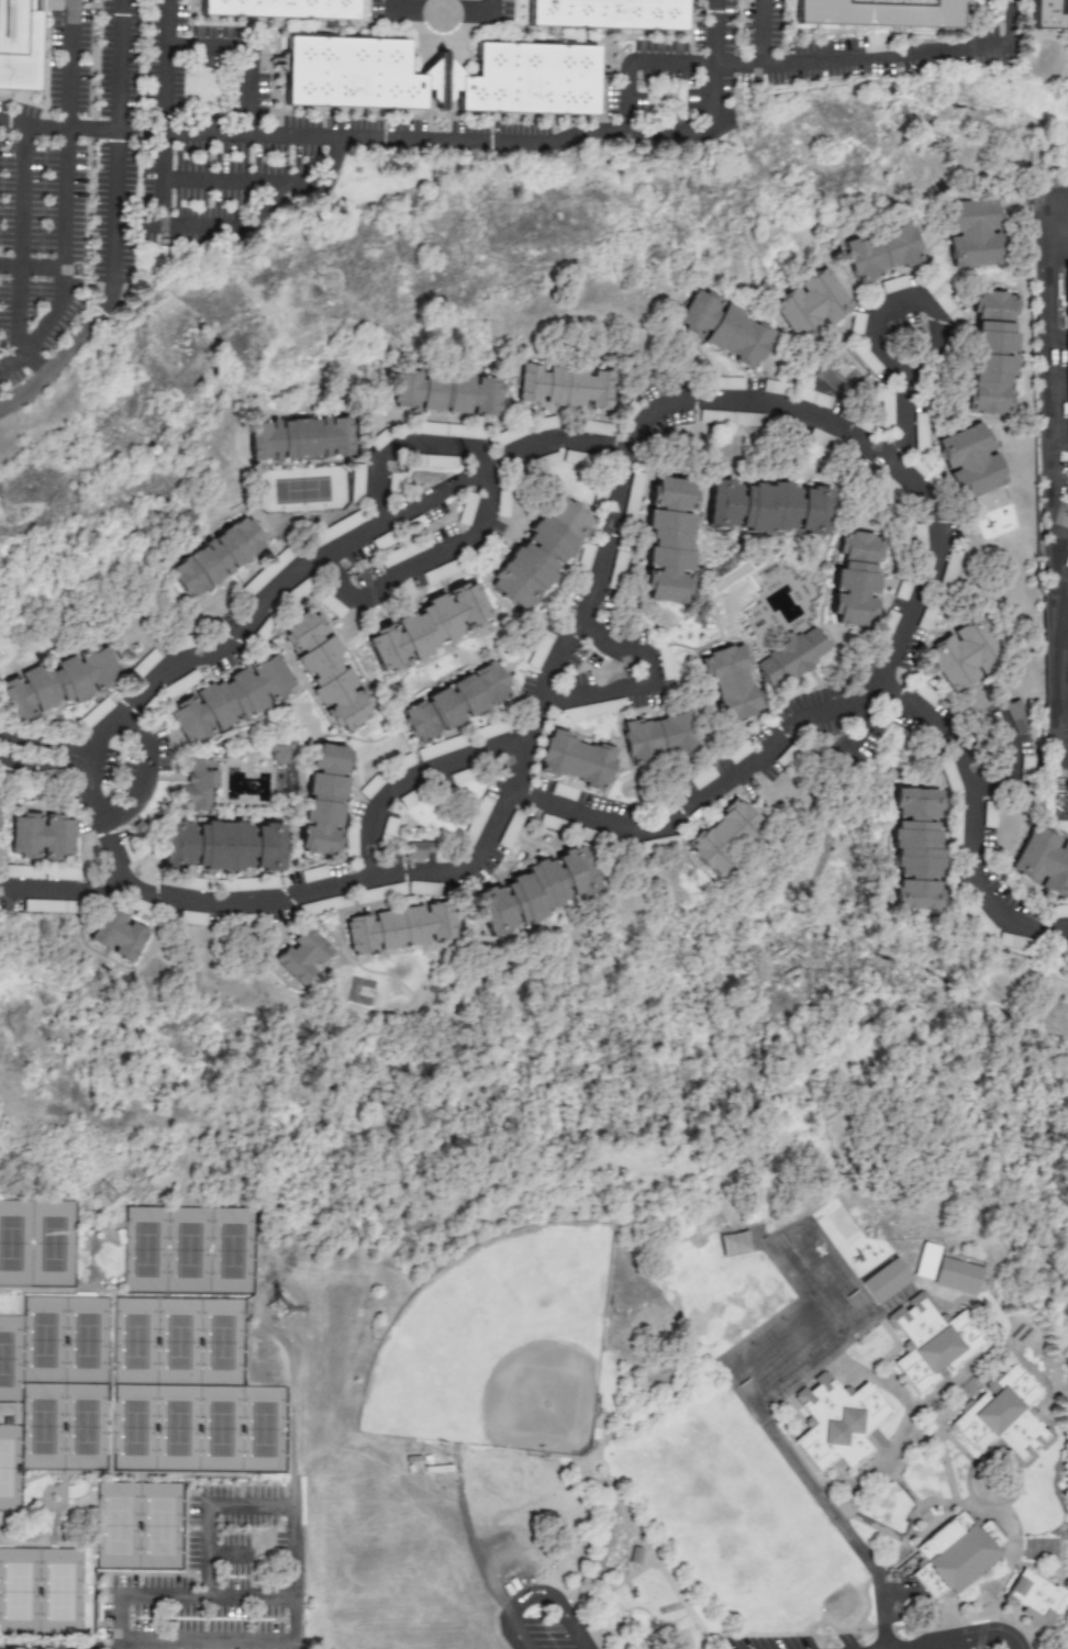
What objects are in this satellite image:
road: (490, 7)
building: (280, 9)
road: (398, 13)
building: (610, 14)
building: (888, 14)
building: (1048, 14)
road: (476, 15)
road: (160, 21)
road: (758, 32)
road: (441, 34)
road: (203, 44)
building: (21, 45)
road: (903, 53)
road: (115, 64)
road: (655, 65)
building: (438, 78)
road: (67, 97)
road: (86, 127)
road: (591, 133)
road: (156, 154)
road: (122, 179)
road: (266, 182)
road: (226, 222)
road: (118, 234)
building: (979, 234)
road: (16, 241)
building: (886, 254)
road: (30, 265)
building: (893, 285)
road: (908, 299)
building: (939, 301)
building: (816, 308)
building: (856, 325)
building: (727, 327)
building: (1066, 327)
road: (23, 354)
building: (997, 354)
building: (865, 359)
road: (53, 369)
building: (726, 383)
building: (568, 387)
building: (774, 388)
building: (448, 393)
building: (811, 398)
building: (886, 409)
road: (905, 421)
building: (543, 424)
building: (594, 428)
building: (919, 430)
building: (450, 431)
building: (508, 436)
building: (300, 439)
building: (379, 439)
road: (401, 446)
building: (550, 460)
building: (976, 461)
building: (356, 481)
park: (301, 490)
building: (600, 494)
building: (633, 494)
road: (1058, 497)
building: (770, 508)
building: (466, 510)
building: (335, 530)
building: (919, 537)
building: (672, 543)
building: (545, 551)
building: (400, 554)
building: (583, 557)
building: (221, 558)
road: (419, 561)
building: (438, 572)
building: (265, 573)
building: (858, 581)
road: (598, 586)
building: (332, 606)
building: (888, 622)
road: (903, 622)
building: (431, 627)
building: (538, 650)
building: (968, 654)
building: (798, 660)
building: (146, 664)
road: (1063, 664)
building: (336, 672)
road: (643, 681)
building: (736, 683)
building: (180, 684)
building: (59, 686)
building: (925, 695)
building: (457, 700)
building: (237, 702)
building: (593, 710)
building: (94, 714)
building: (1016, 716)
building: (489, 731)
building: (661, 737)
parking lot: (868, 742)
road: (45, 745)
building: (440, 748)
building: (285, 750)
road: (1014, 758)
building: (580, 759)
building: (404, 762)
road: (44, 765)
road: (414, 773)
building: (948, 775)
road: (134, 777)
building: (459, 778)
building: (701, 778)
building: (288, 783)
building: (199, 784)
building: (369, 788)
building: (326, 802)
building: (0, 813)
road: (978, 814)
building: (476, 821)
building: (1, 824)
building: (953, 826)
building: (510, 829)
building: (48, 838)
building: (728, 838)
building: (349, 844)
building: (225, 847)
building: (919, 849)
building: (414, 851)
building: (1050, 862)
building: (22, 872)
building: (60, 874)
building: (313, 874)
building: (182, 883)
building: (234, 885)
road: (63, 889)
building: (423, 889)
building: (537, 892)
building: (377, 893)
building: (325, 905)
building: (48, 906)
building: (1056, 911)
building: (191, 918)
building: (978, 921)
building: (403, 929)
building: (119, 937)
building: (303, 961)
power tower: (108, 1196)
park: (14, 1243)
park: (52, 1243)
building: (733, 1244)
park: (144, 1247)
park: (187, 1247)
park: (230, 1248)
building: (925, 1261)
building: (961, 1272)
building: (888, 1278)
power tower: (280, 1310)
park: (563, 1327)
park: (43, 1337)
park: (87, 1337)
park: (134, 1338)
park: (178, 1338)
park: (221, 1339)
building: (937, 1339)
park: (500, 1346)
park: (8, 1356)
building: (1006, 1411)
building: (839, 1419)
road: (765, 1422)
park: (42, 1426)
park: (85, 1426)
park: (132, 1427)
park: (177, 1427)
park: (220, 1427)
park: (264, 1428)
park: (9, 1467)
park: (118, 1524)
park: (162, 1524)
road: (293, 1551)
building: (958, 1551)
road: (227, 1555)
park: (18, 1587)
park: (60, 1589)
road: (538, 1594)
road: (182, 1596)
building: (1038, 1601)
road: (981, 1638)
road: (874, 1640)
road: (882, 1640)
road: (164, 1645)
road: (168, 1645)

